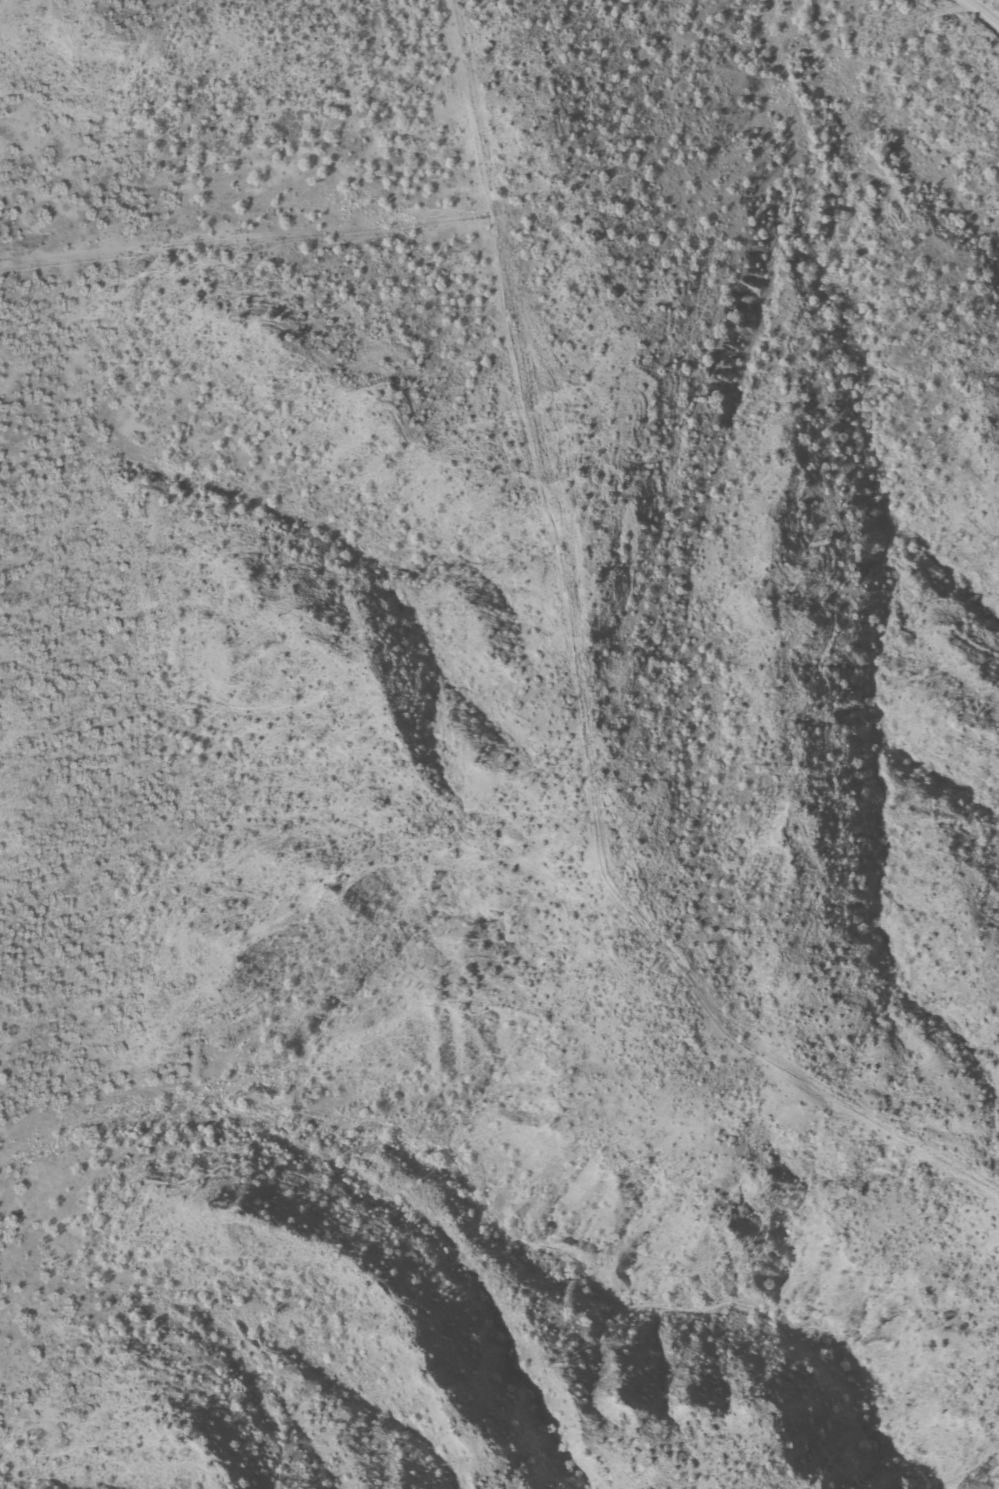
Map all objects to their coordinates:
road: (991, 11)

